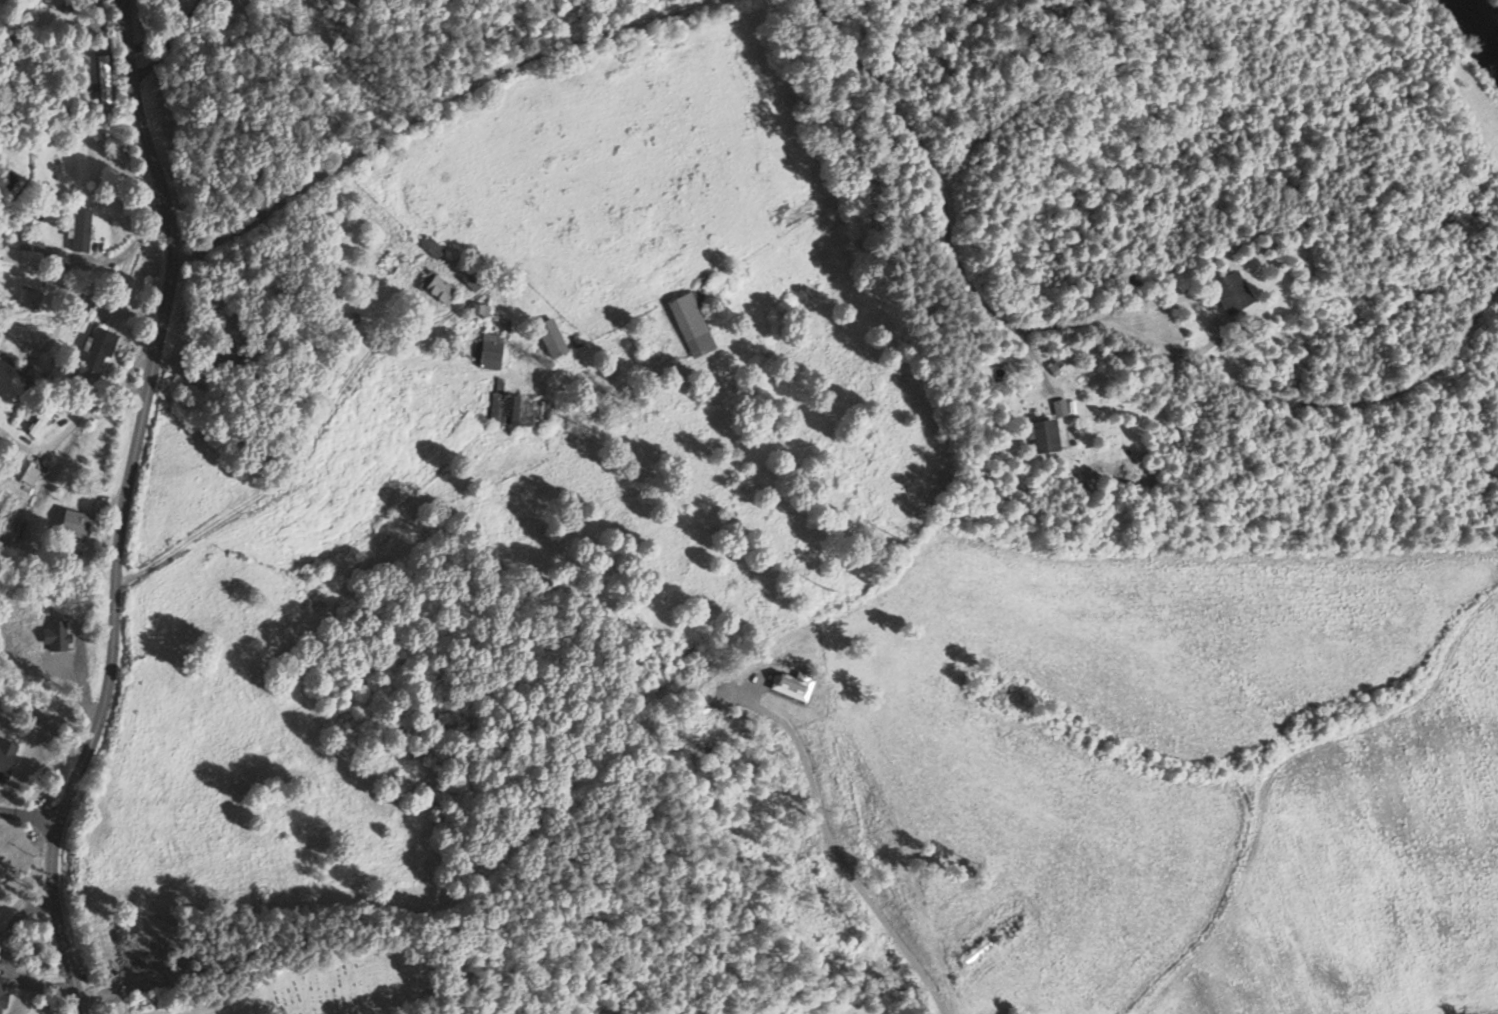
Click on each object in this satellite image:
river: (1479, 24)
building: (104, 78)
road: (429, 106)
building: (80, 230)
road: (948, 243)
building: (432, 247)
building: (30, 253)
building: (437, 287)
building: (1231, 292)
building: (480, 310)
building: (690, 325)
building: (551, 338)
building: (98, 349)
building: (490, 351)
building: (1059, 407)
building: (39, 423)
building: (1043, 436)
building: (27, 472)
road: (121, 509)
building: (76, 523)
building: (790, 685)
building: (6, 756)
road: (28, 815)

